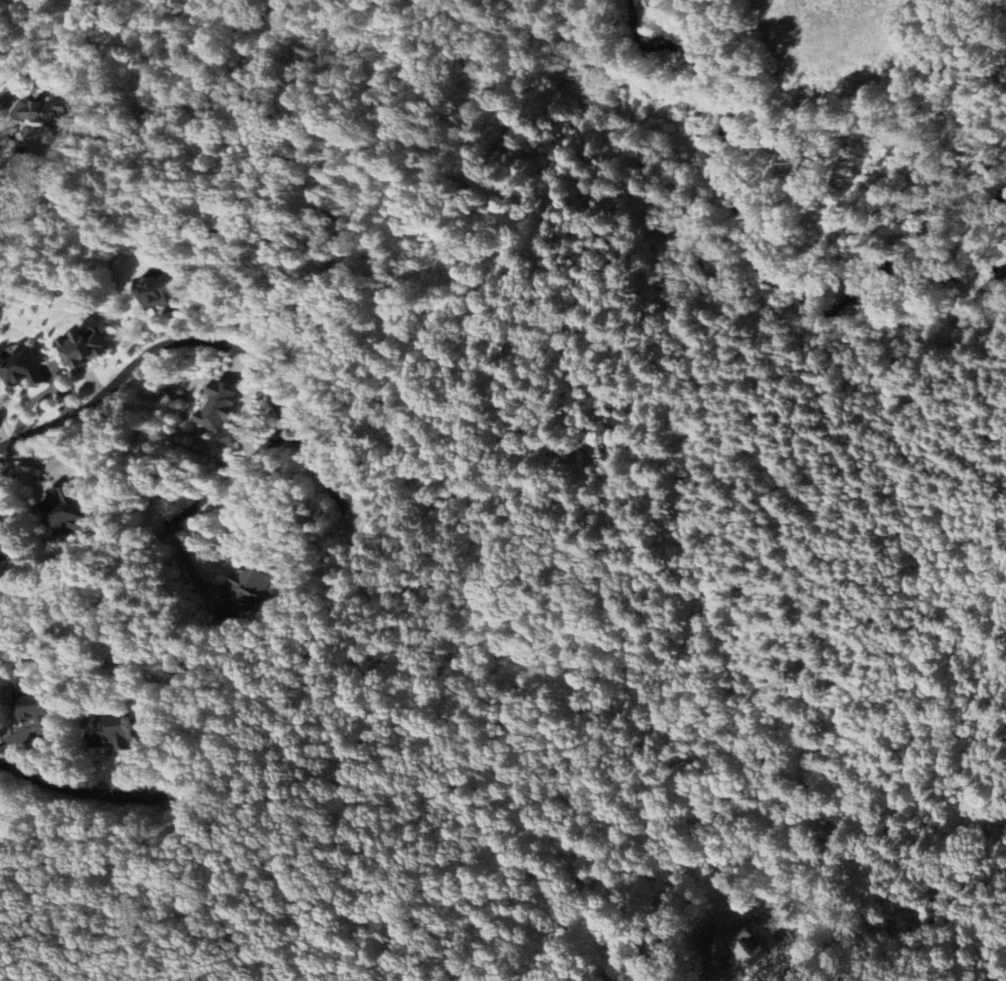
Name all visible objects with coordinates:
building: (47, 110)
building: (161, 292)
road: (205, 338)
building: (87, 349)
building: (23, 367)
road: (200, 497)
building: (62, 510)
building: (7, 524)
building: (244, 594)
building: (41, 709)
building: (113, 733)
road: (85, 791)
building: (741, 945)
road: (730, 974)

